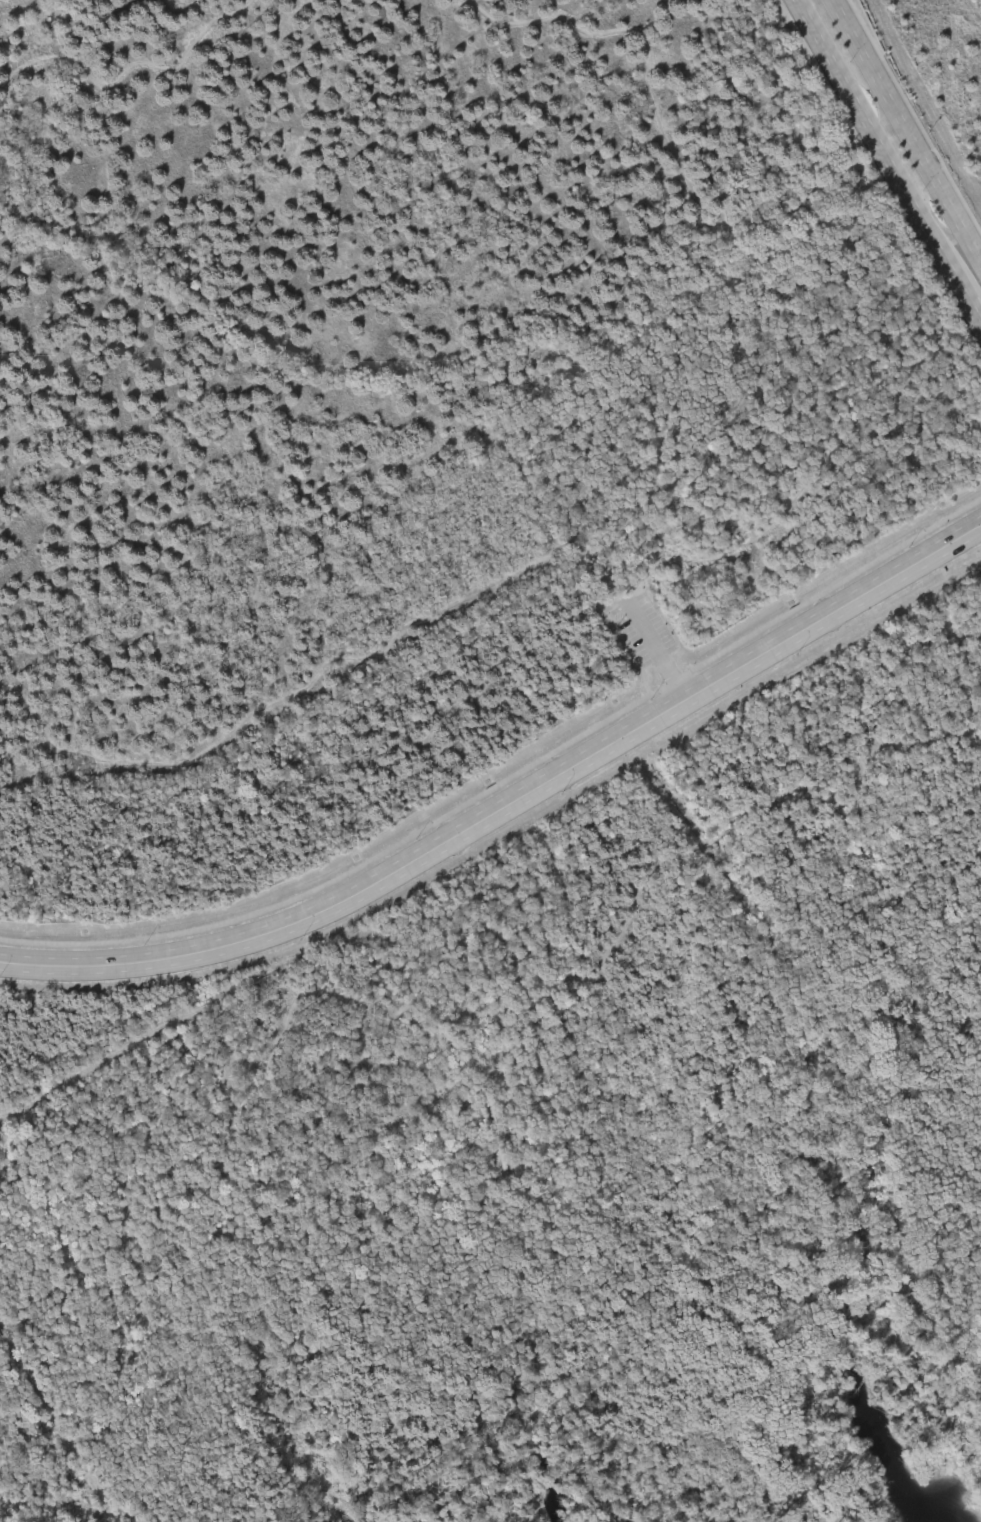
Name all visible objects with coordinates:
road: (906, 129)
road: (887, 146)
road: (976, 301)
road: (659, 650)
park: (490, 761)
road: (509, 804)

